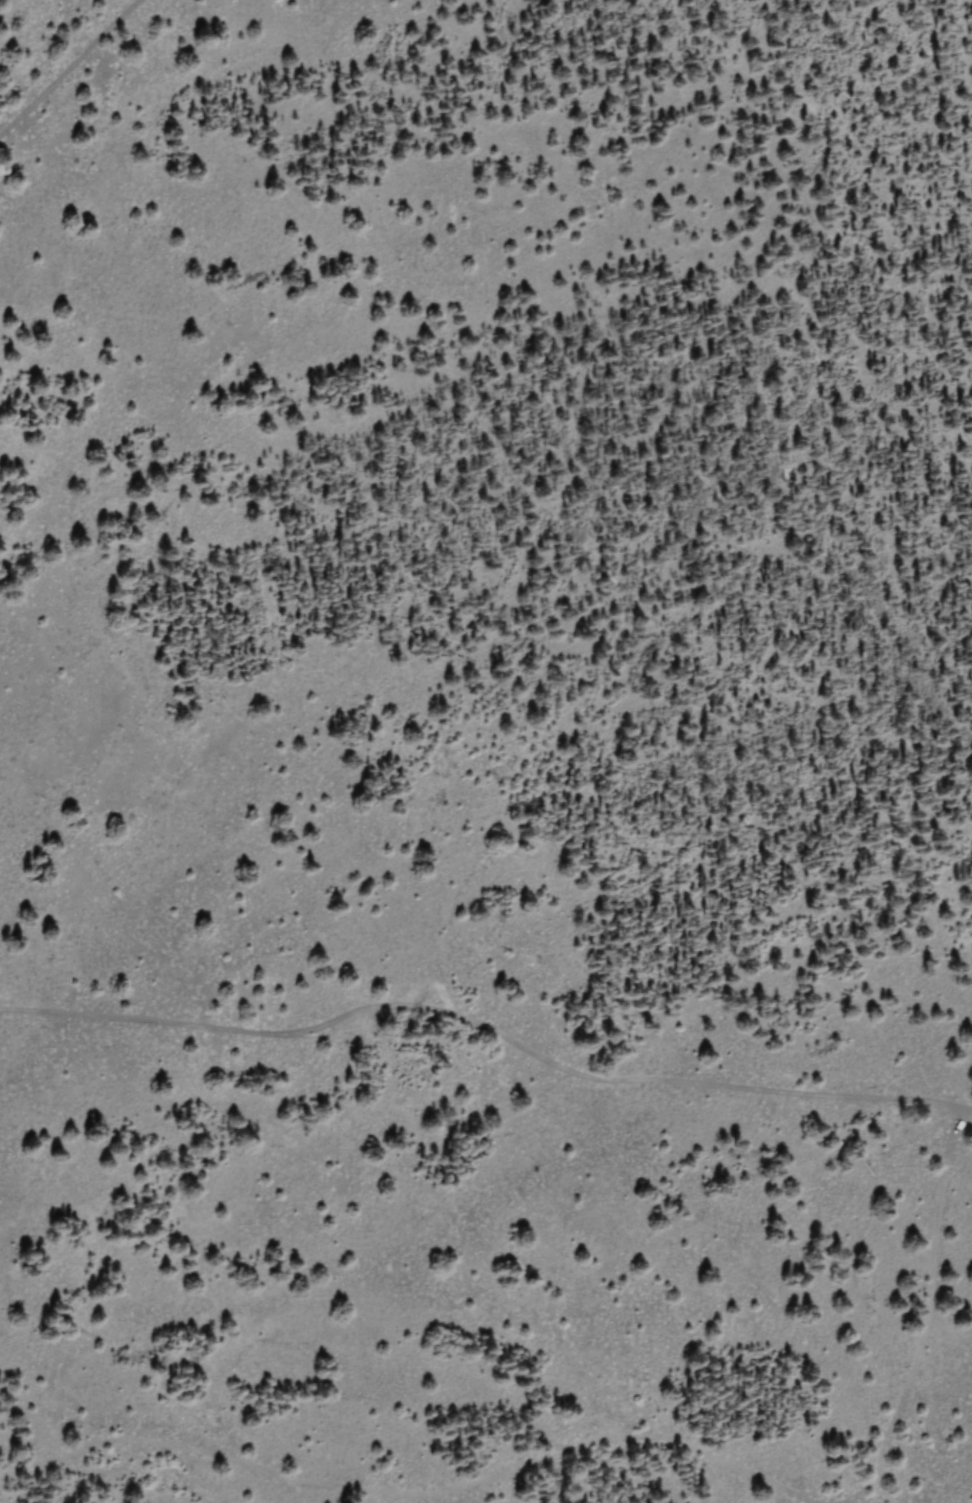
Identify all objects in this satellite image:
road: (489, 1026)

